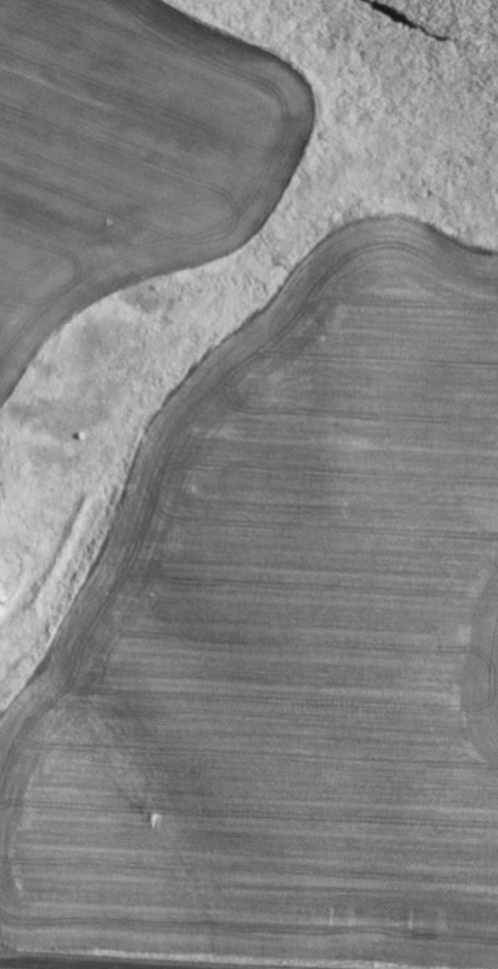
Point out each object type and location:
road: (249, 958)

